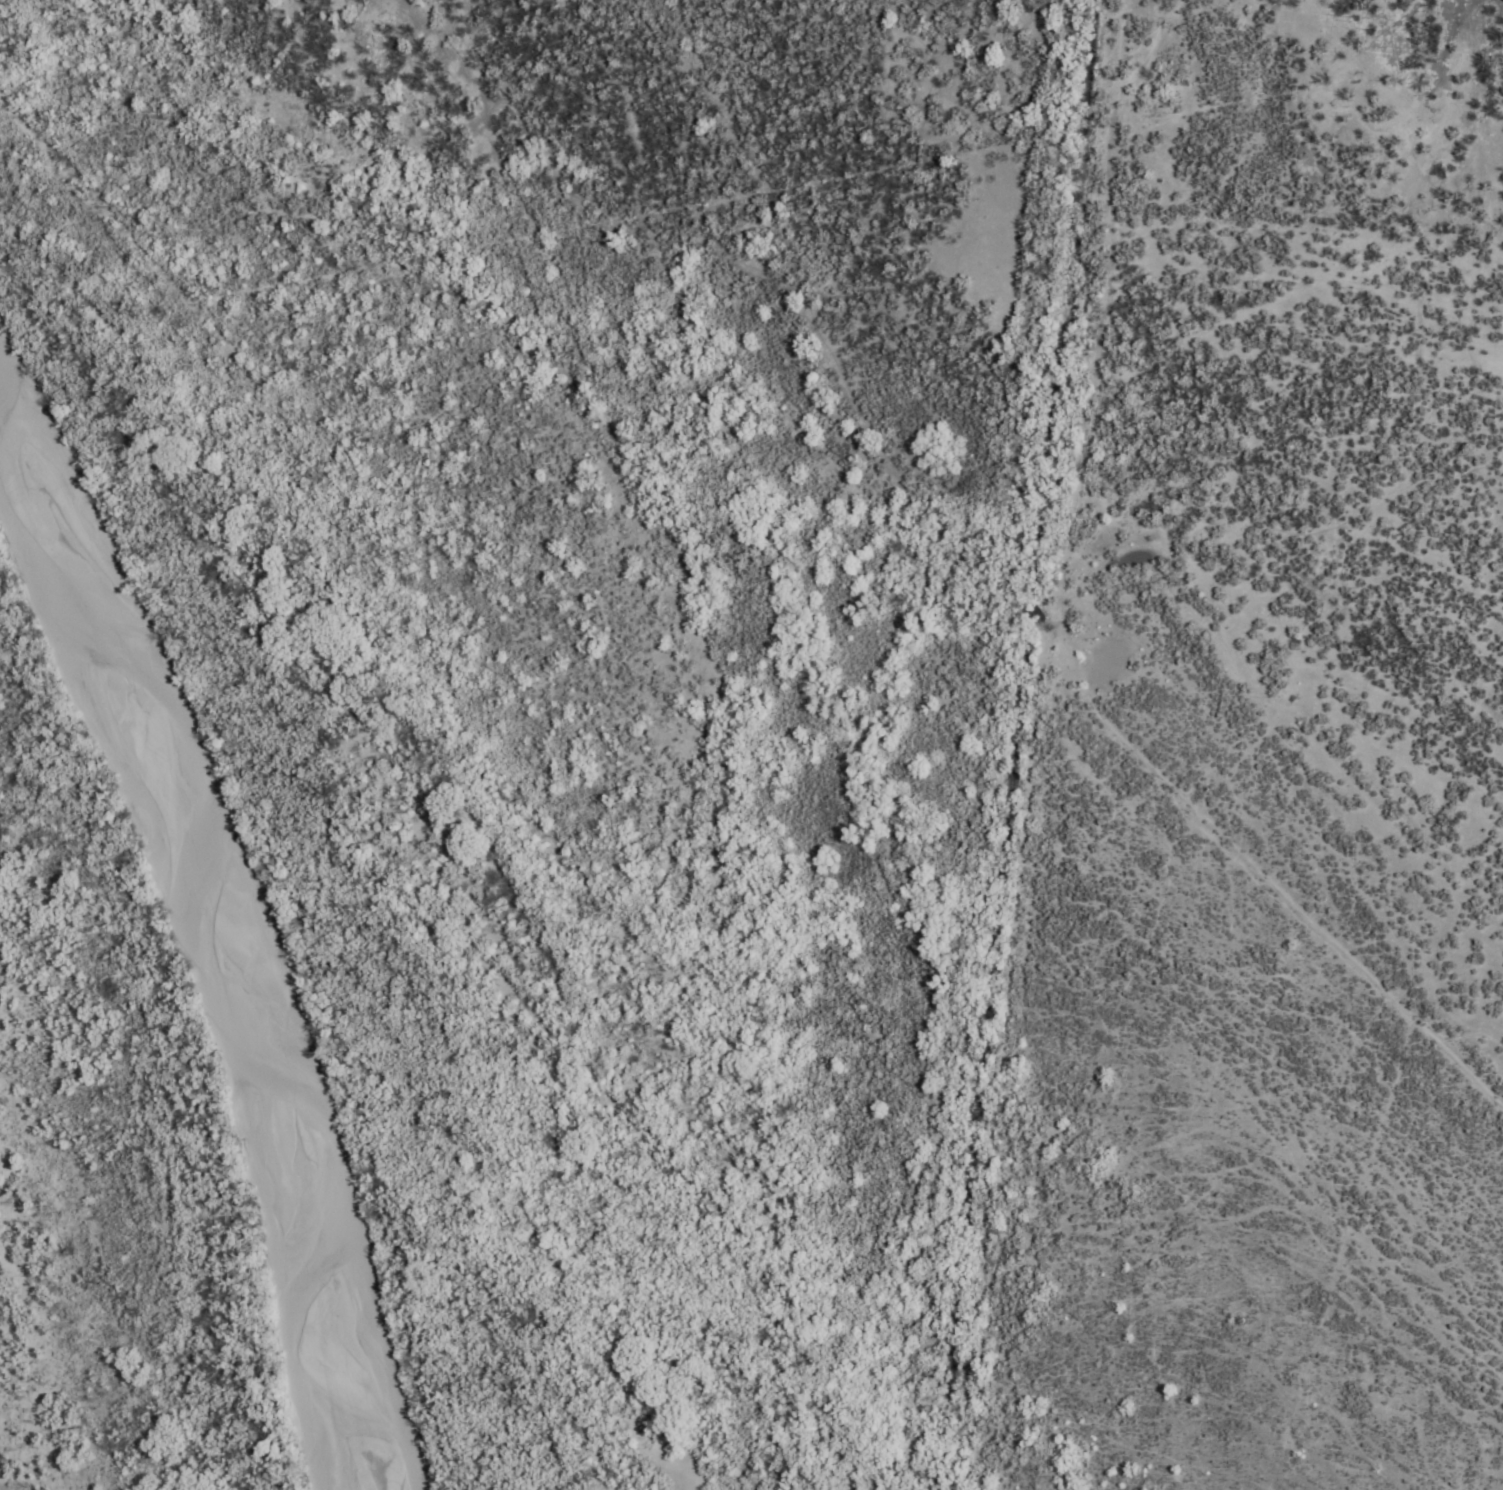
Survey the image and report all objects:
road: (1428, 214)
river: (216, 954)

